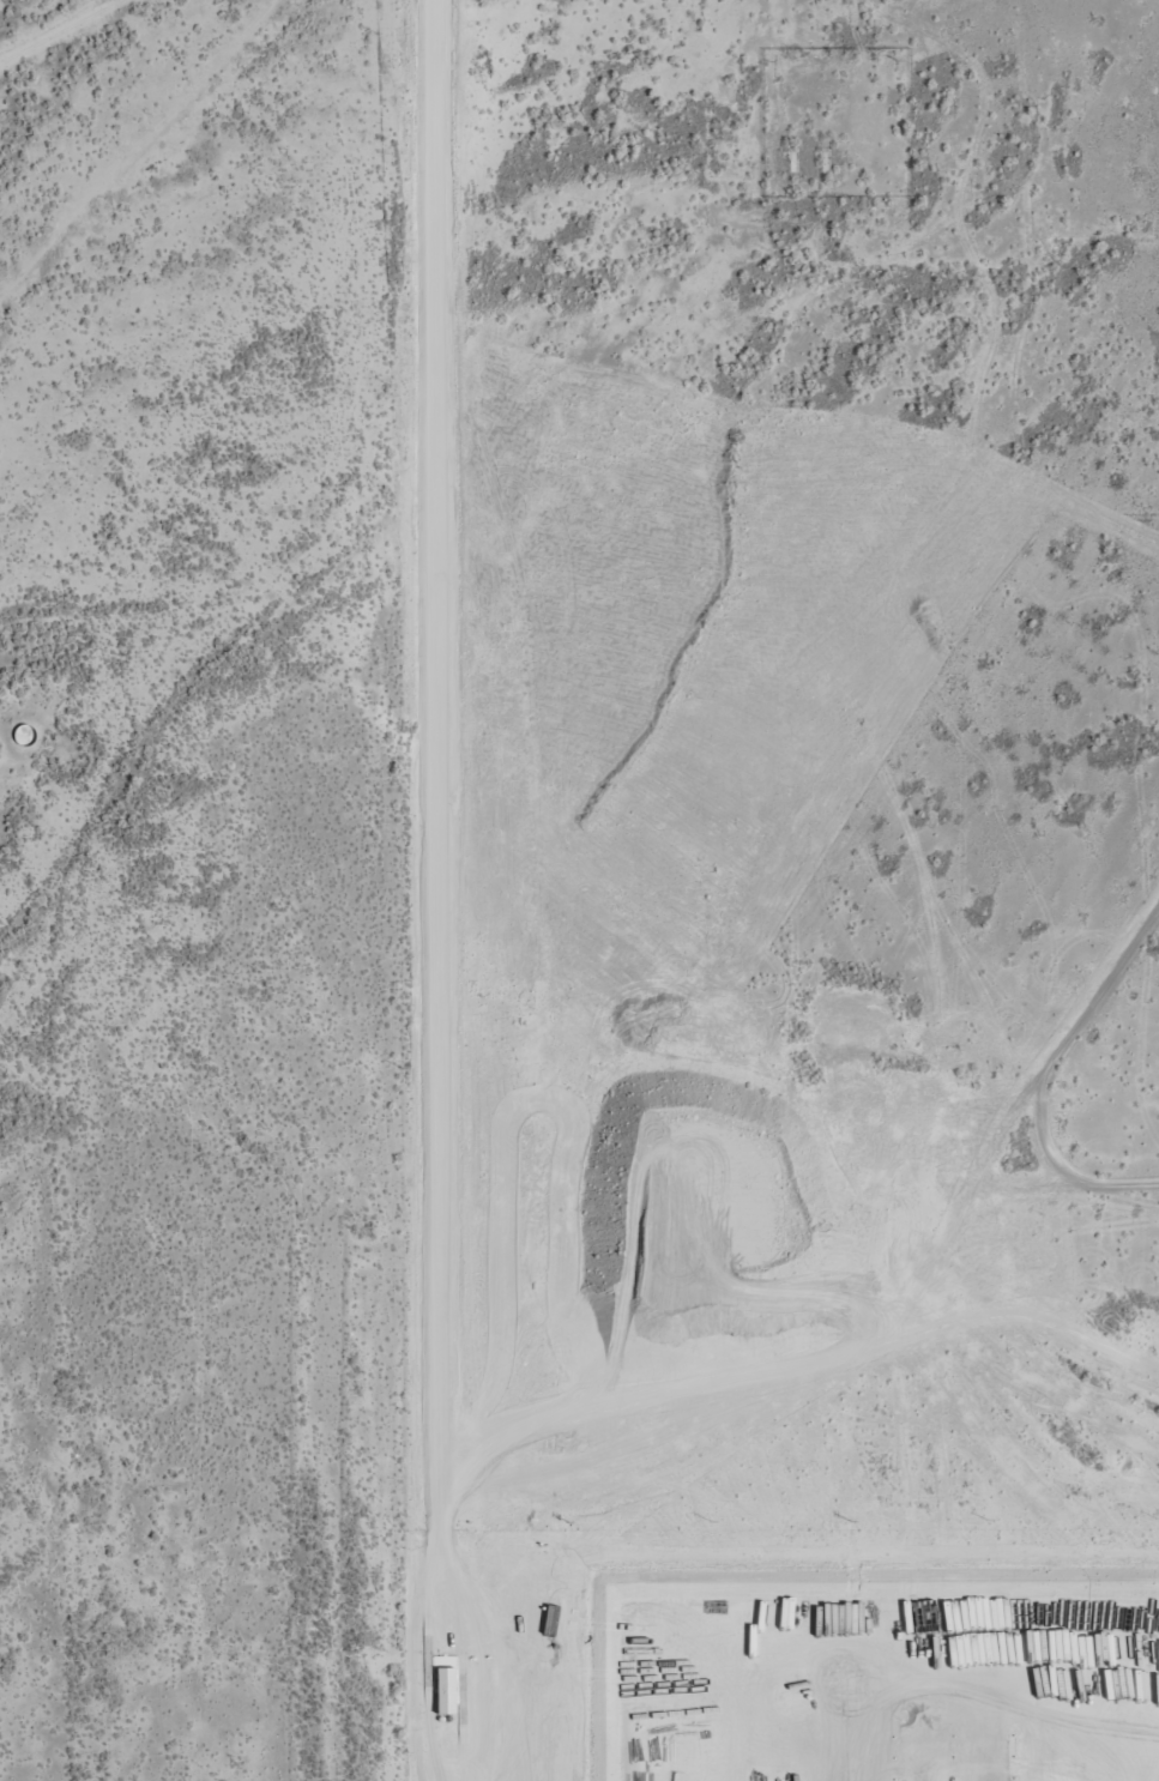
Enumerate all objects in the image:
building: (445, 1691)

